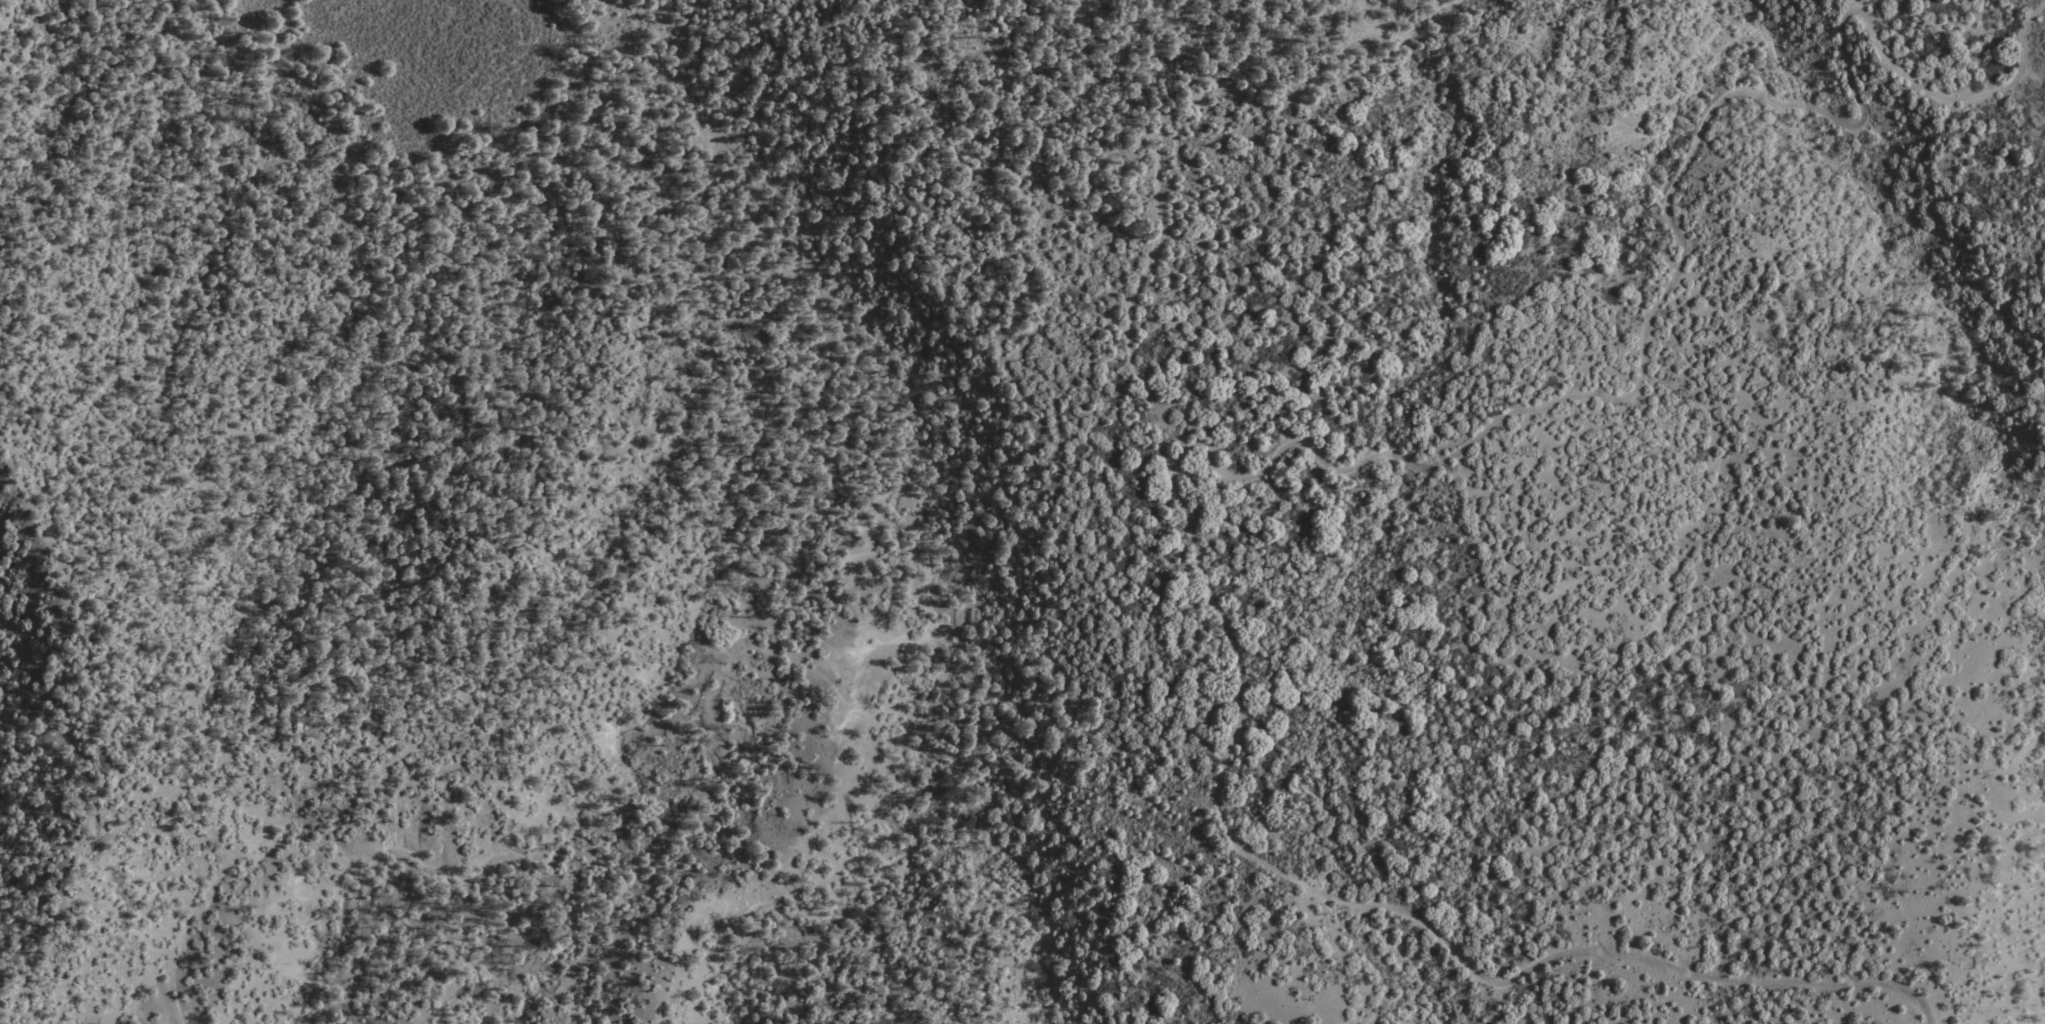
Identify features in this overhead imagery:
road: (1158, 207)
road: (1254, 472)

